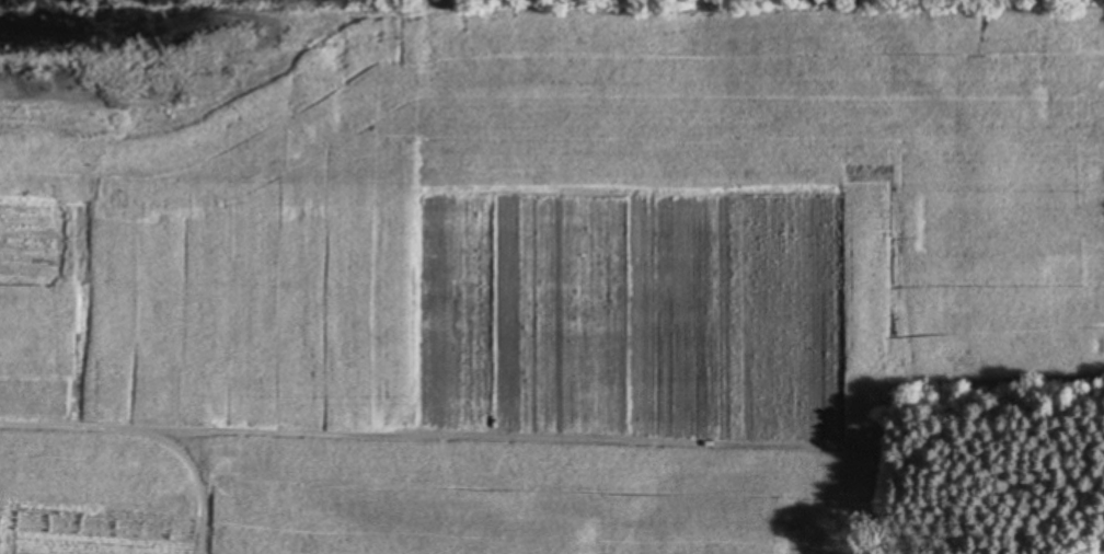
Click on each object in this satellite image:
crop: (526, 266)

